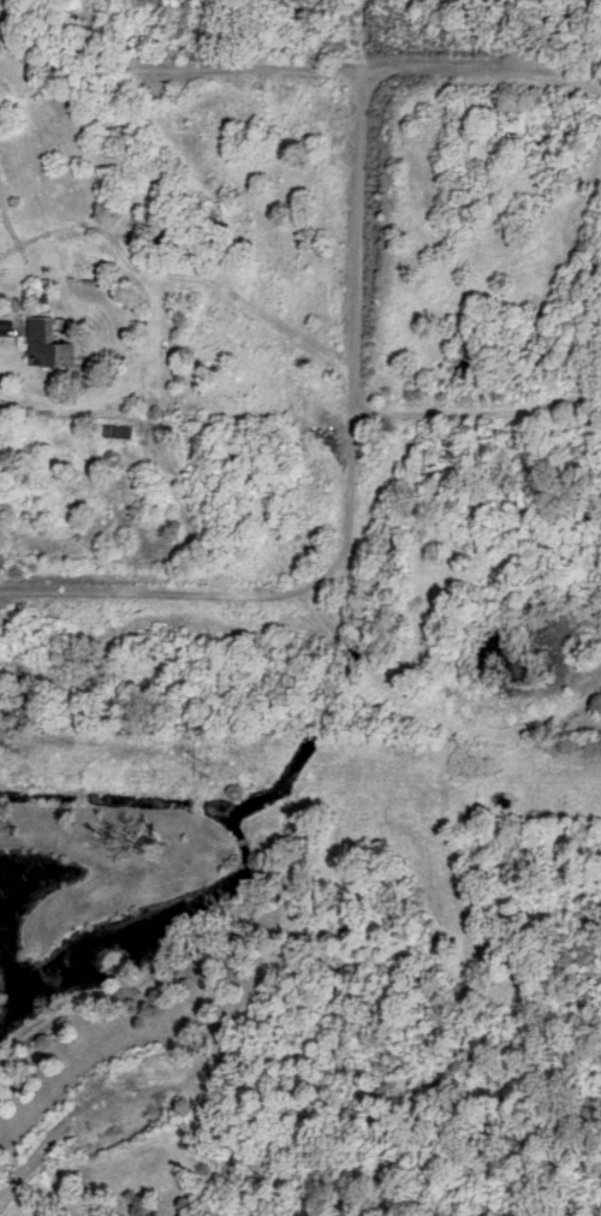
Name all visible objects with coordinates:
road: (5, 327)
road: (355, 327)
building: (42, 344)

